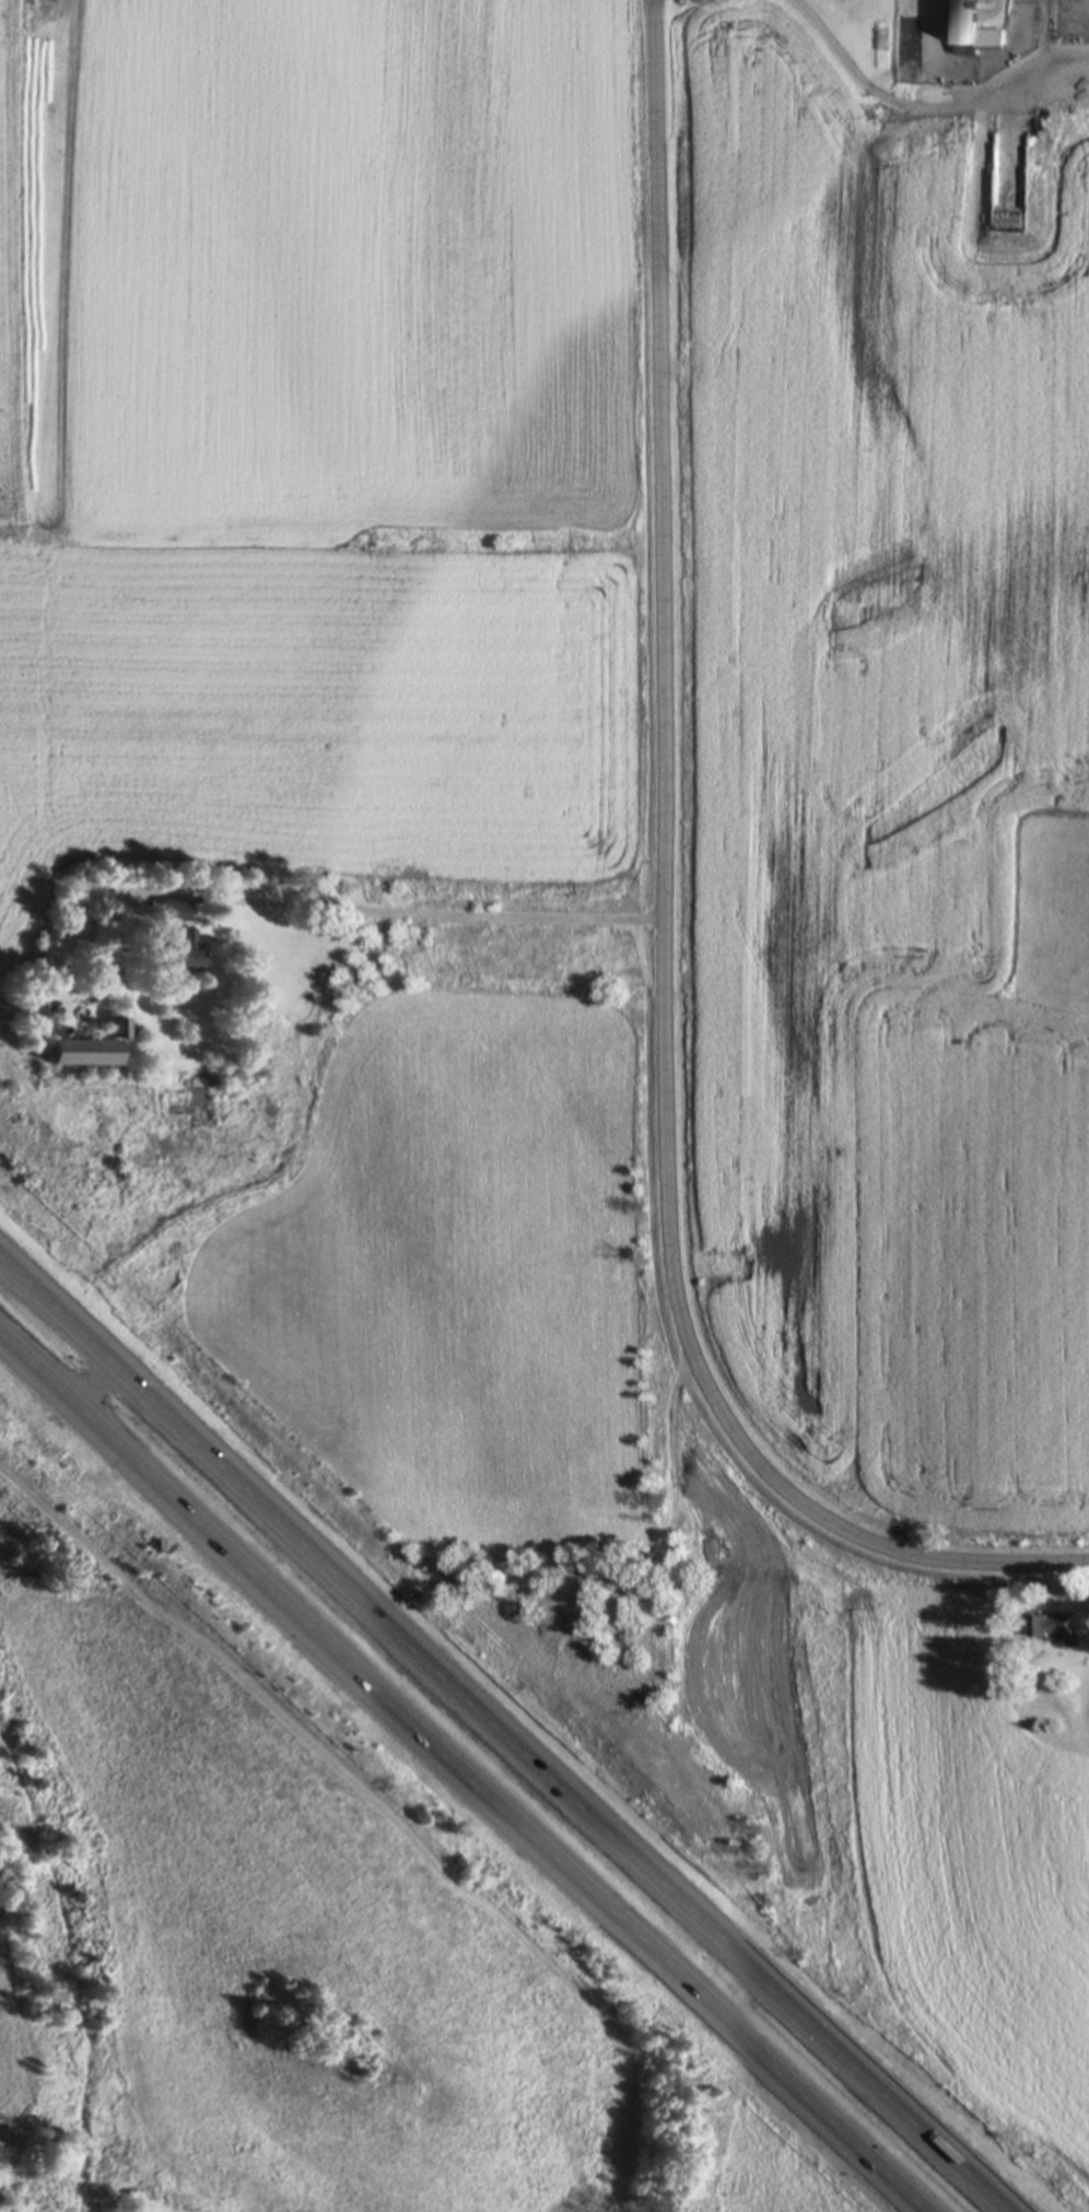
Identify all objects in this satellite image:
building: (963, 23)
road: (847, 72)
building: (92, 897)
road: (422, 913)
road: (669, 921)
building: (188, 947)
building: (114, 1029)
building: (81, 1054)
road: (95, 1386)
building: (1053, 1628)
building: (1084, 1720)
road: (505, 1735)
road: (465, 1774)

